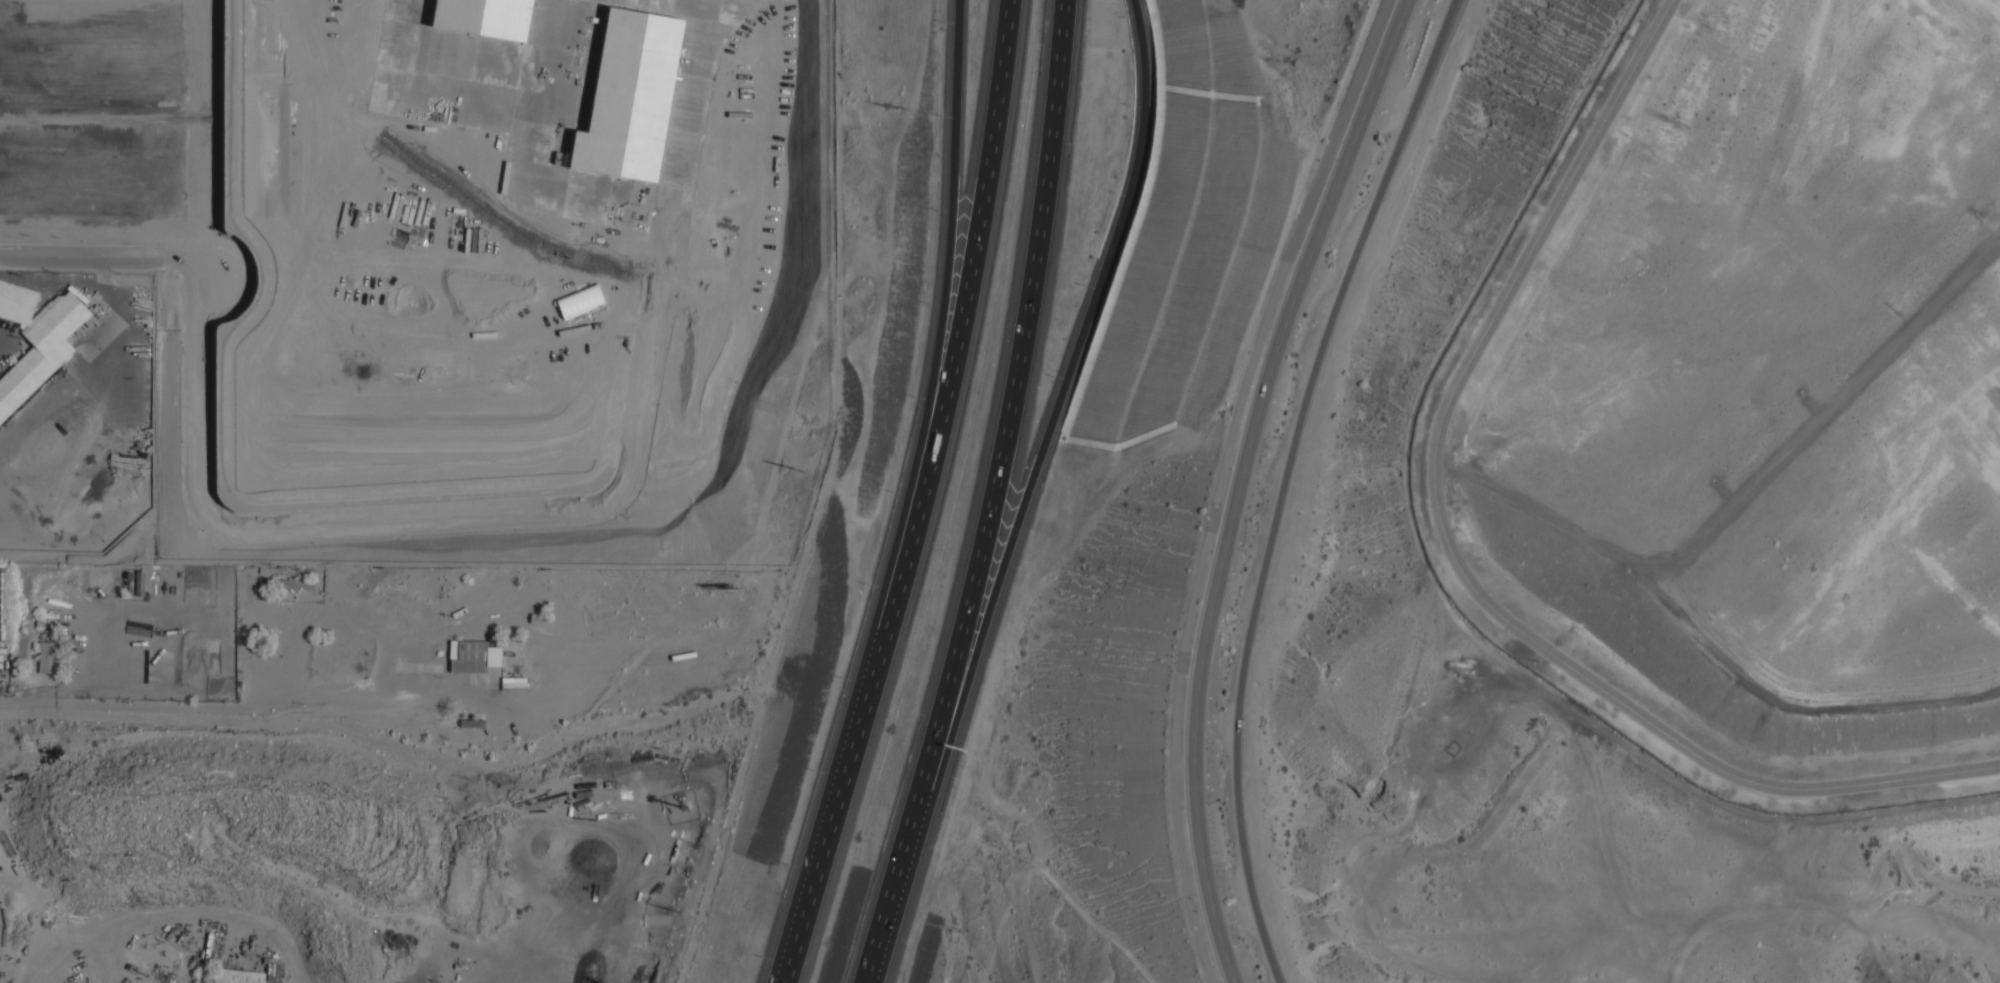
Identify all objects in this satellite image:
road: (700, 1)
building: (482, 17)
road: (1418, 94)
building: (630, 97)
building: (170, 132)
road: (97, 257)
building: (16, 303)
building: (42, 351)
road: (933, 383)
railway: (43, 386)
airport: (1750, 405)
road: (1051, 428)
road: (1221, 481)
road: (1241, 482)
road: (925, 490)
road: (995, 496)
road: (380, 528)
road: (1457, 560)
road: (1261, 580)
building: (2, 604)
building: (48, 656)
building: (476, 656)
road: (371, 739)
building: (238, 976)
road: (789, 976)

